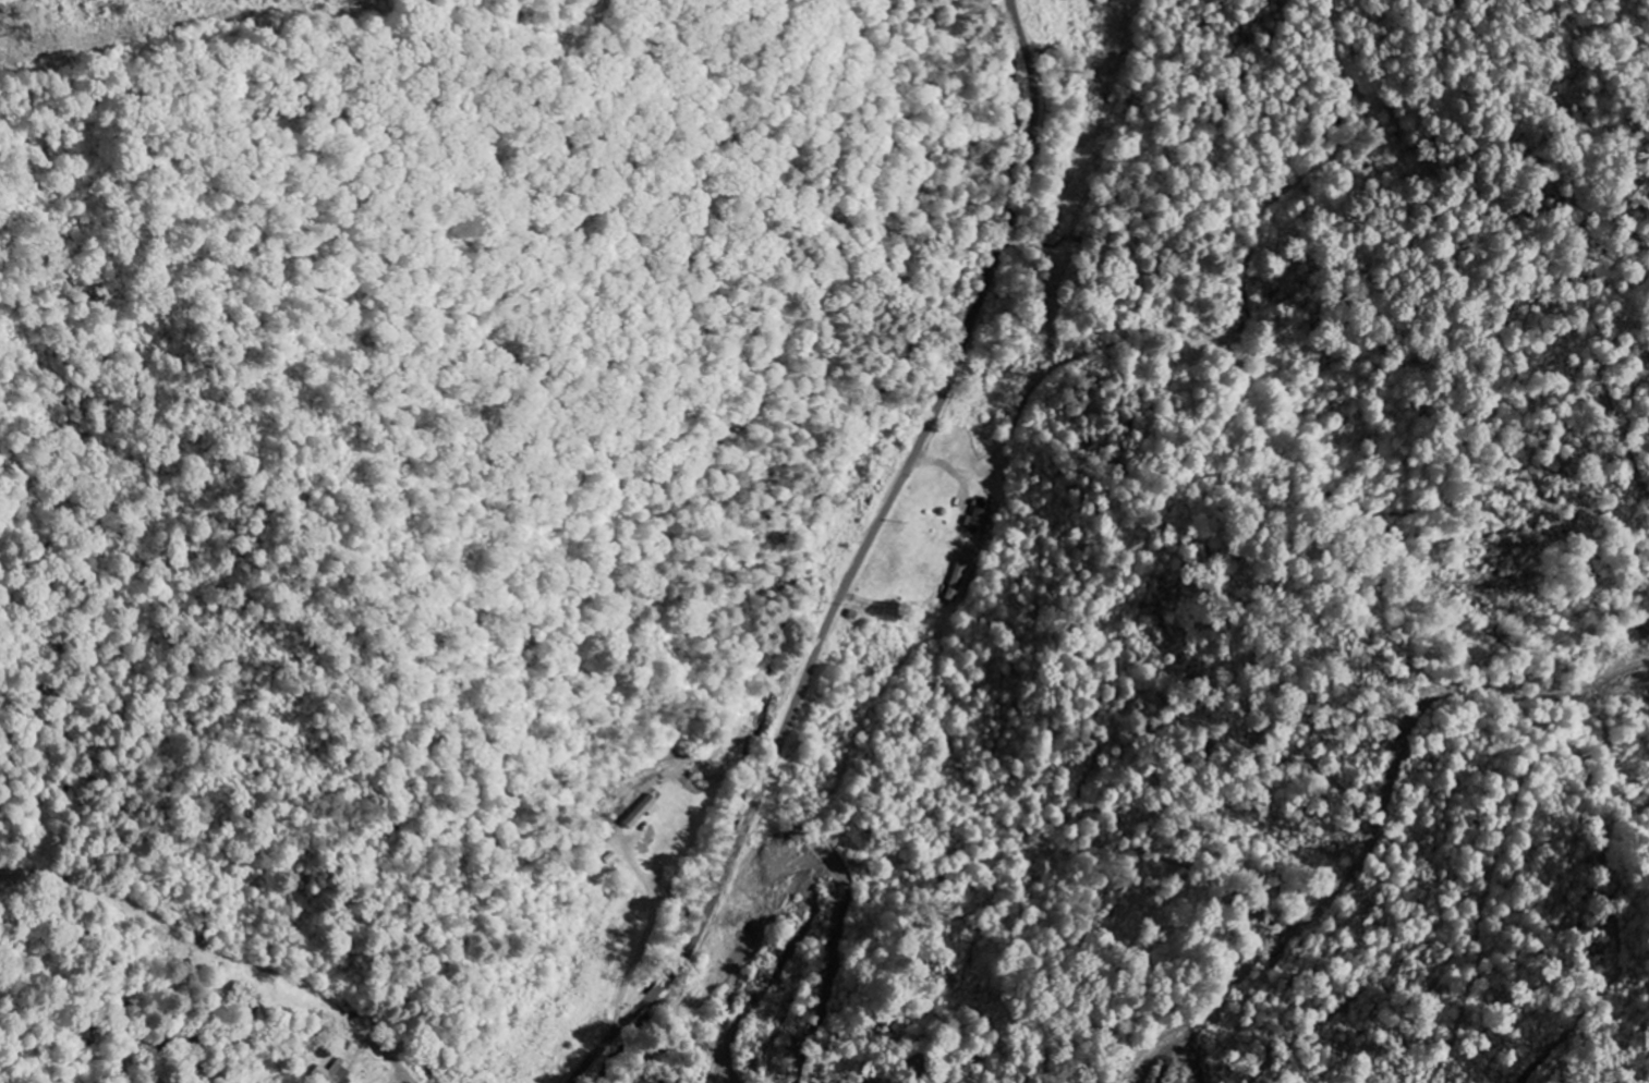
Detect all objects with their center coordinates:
building: (975, 516)
road: (860, 561)
building: (955, 582)
building: (645, 812)
road: (265, 940)
building: (335, 1072)

